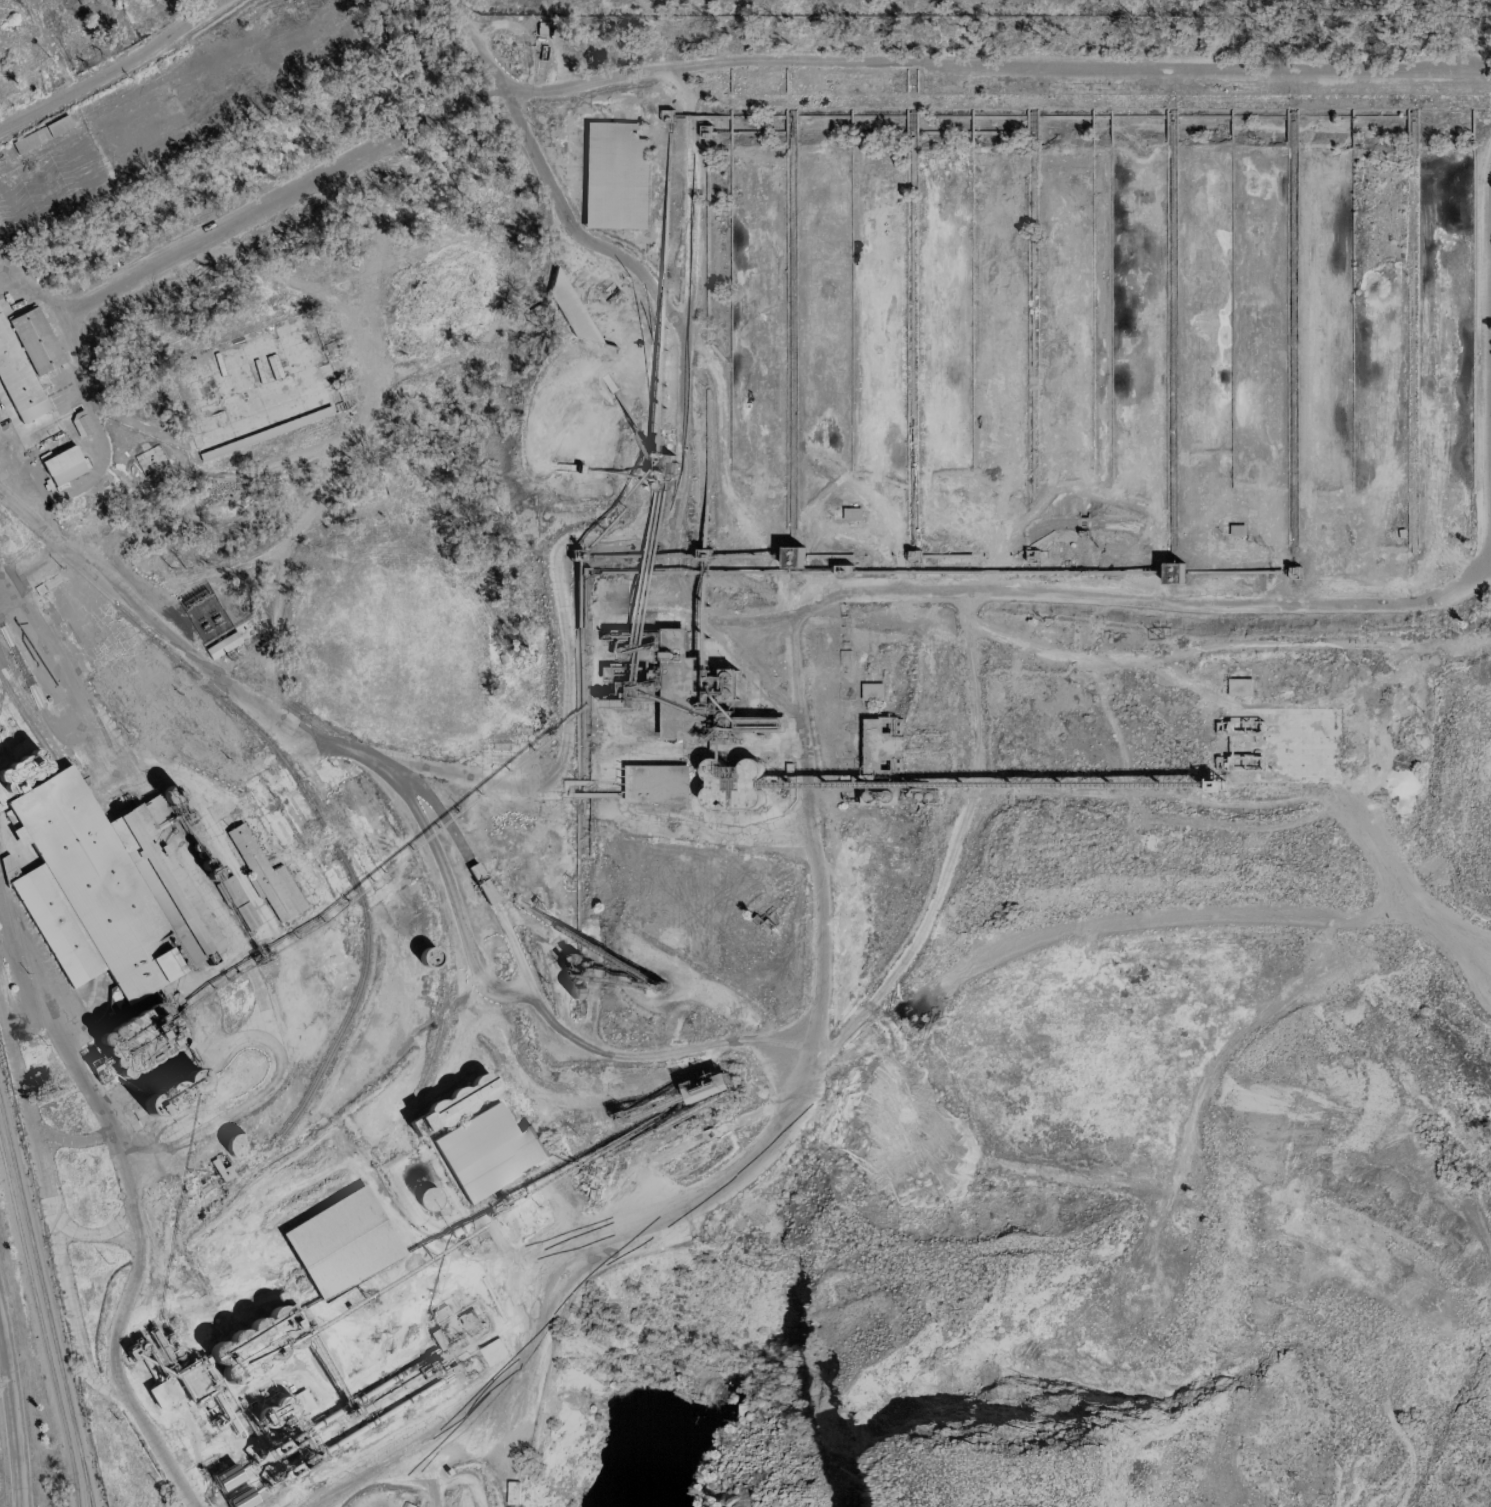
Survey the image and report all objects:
road: (472, 44)
road: (718, 64)
road: (116, 66)
building: (615, 176)
road: (563, 215)
building: (35, 339)
building: (265, 369)
building: (17, 379)
building: (4, 401)
building: (80, 424)
building: (63, 465)
building: (852, 514)
building: (1237, 530)
building: (222, 645)
road: (32, 651)
railway: (178, 659)
building: (1239, 686)
railway: (62, 762)
railway: (59, 772)
railway: (408, 830)
building: (264, 869)
railway: (478, 877)
building: (103, 891)
railway: (3, 899)
building: (236, 900)
railway: (361, 988)
building: (236, 1145)
building: (487, 1152)
building: (220, 1167)
building: (430, 1200)
road: (129, 1215)
building: (342, 1243)
quarry: (1111, 1259)
railway: (45, 1301)
railway: (40, 1323)
road: (14, 1419)
road: (393, 1454)
building: (226, 1477)
railway: (87, 1489)
building: (241, 1499)

